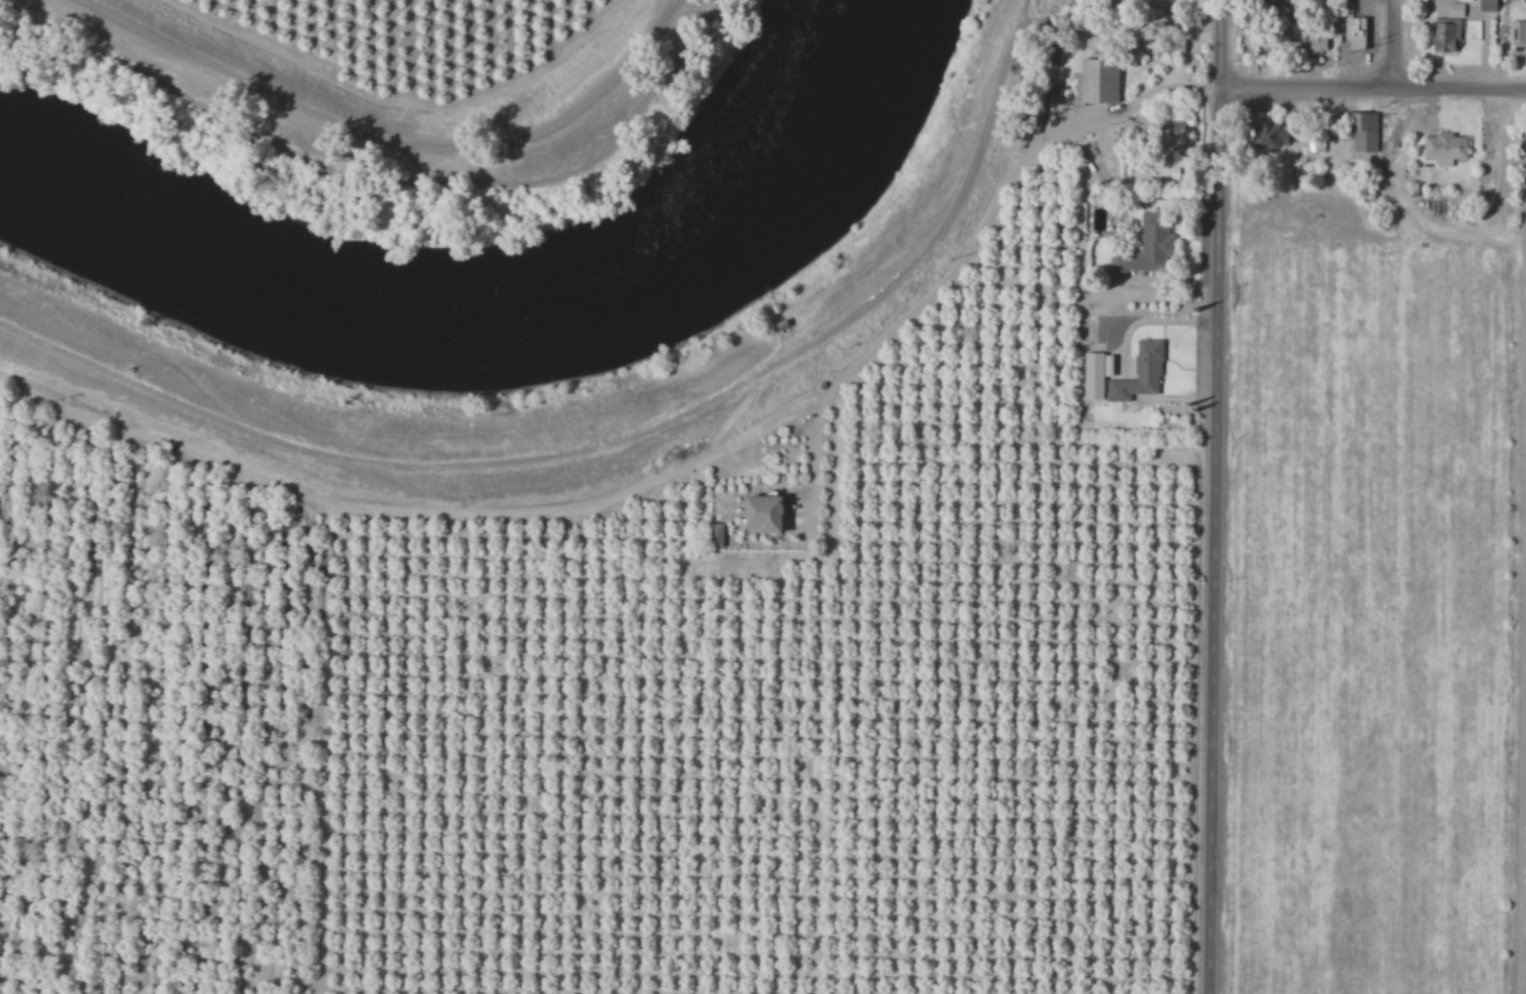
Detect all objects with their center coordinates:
building: (1463, 0)
building: (1487, 5)
building: (1456, 9)
building: (1354, 32)
building: (1518, 37)
building: (1317, 42)
road: (1400, 44)
building: (1095, 81)
road: (1376, 87)
building: (1362, 130)
building: (1268, 135)
road: (393, 139)
building: (1444, 148)
building: (1144, 248)
river: (485, 323)
building: (1139, 373)
building: (1095, 374)
road: (658, 450)
road: (1222, 497)
building: (761, 513)
building: (715, 535)

